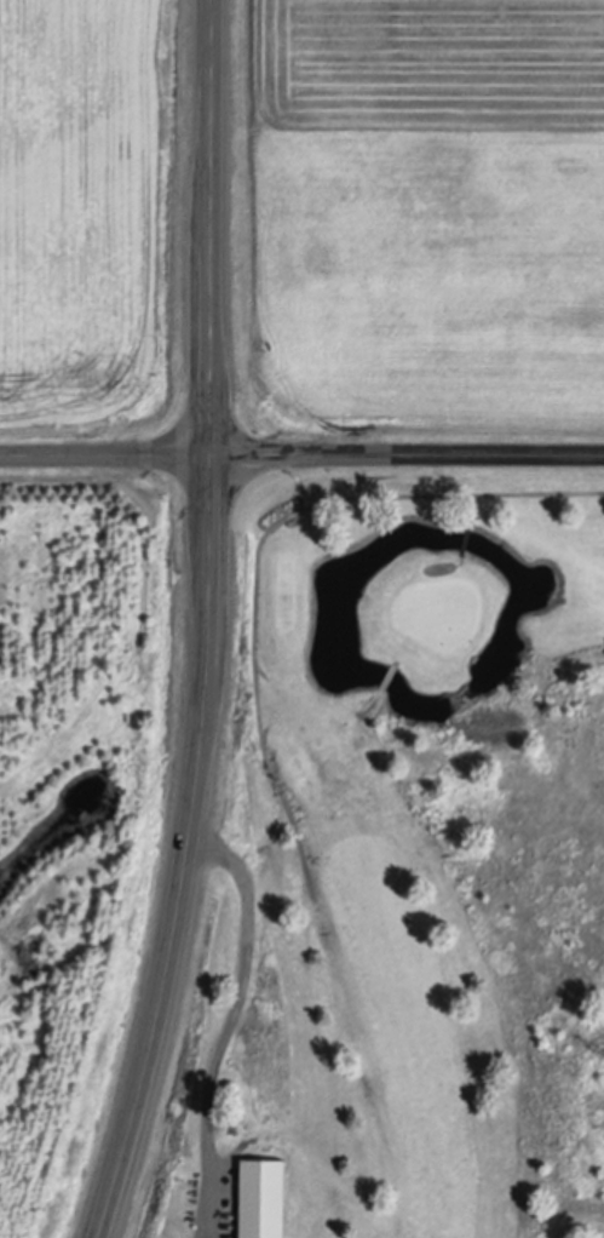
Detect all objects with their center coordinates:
road: (301, 454)
road: (211, 624)
park: (433, 832)
road: (232, 1009)
building: (263, 1199)

